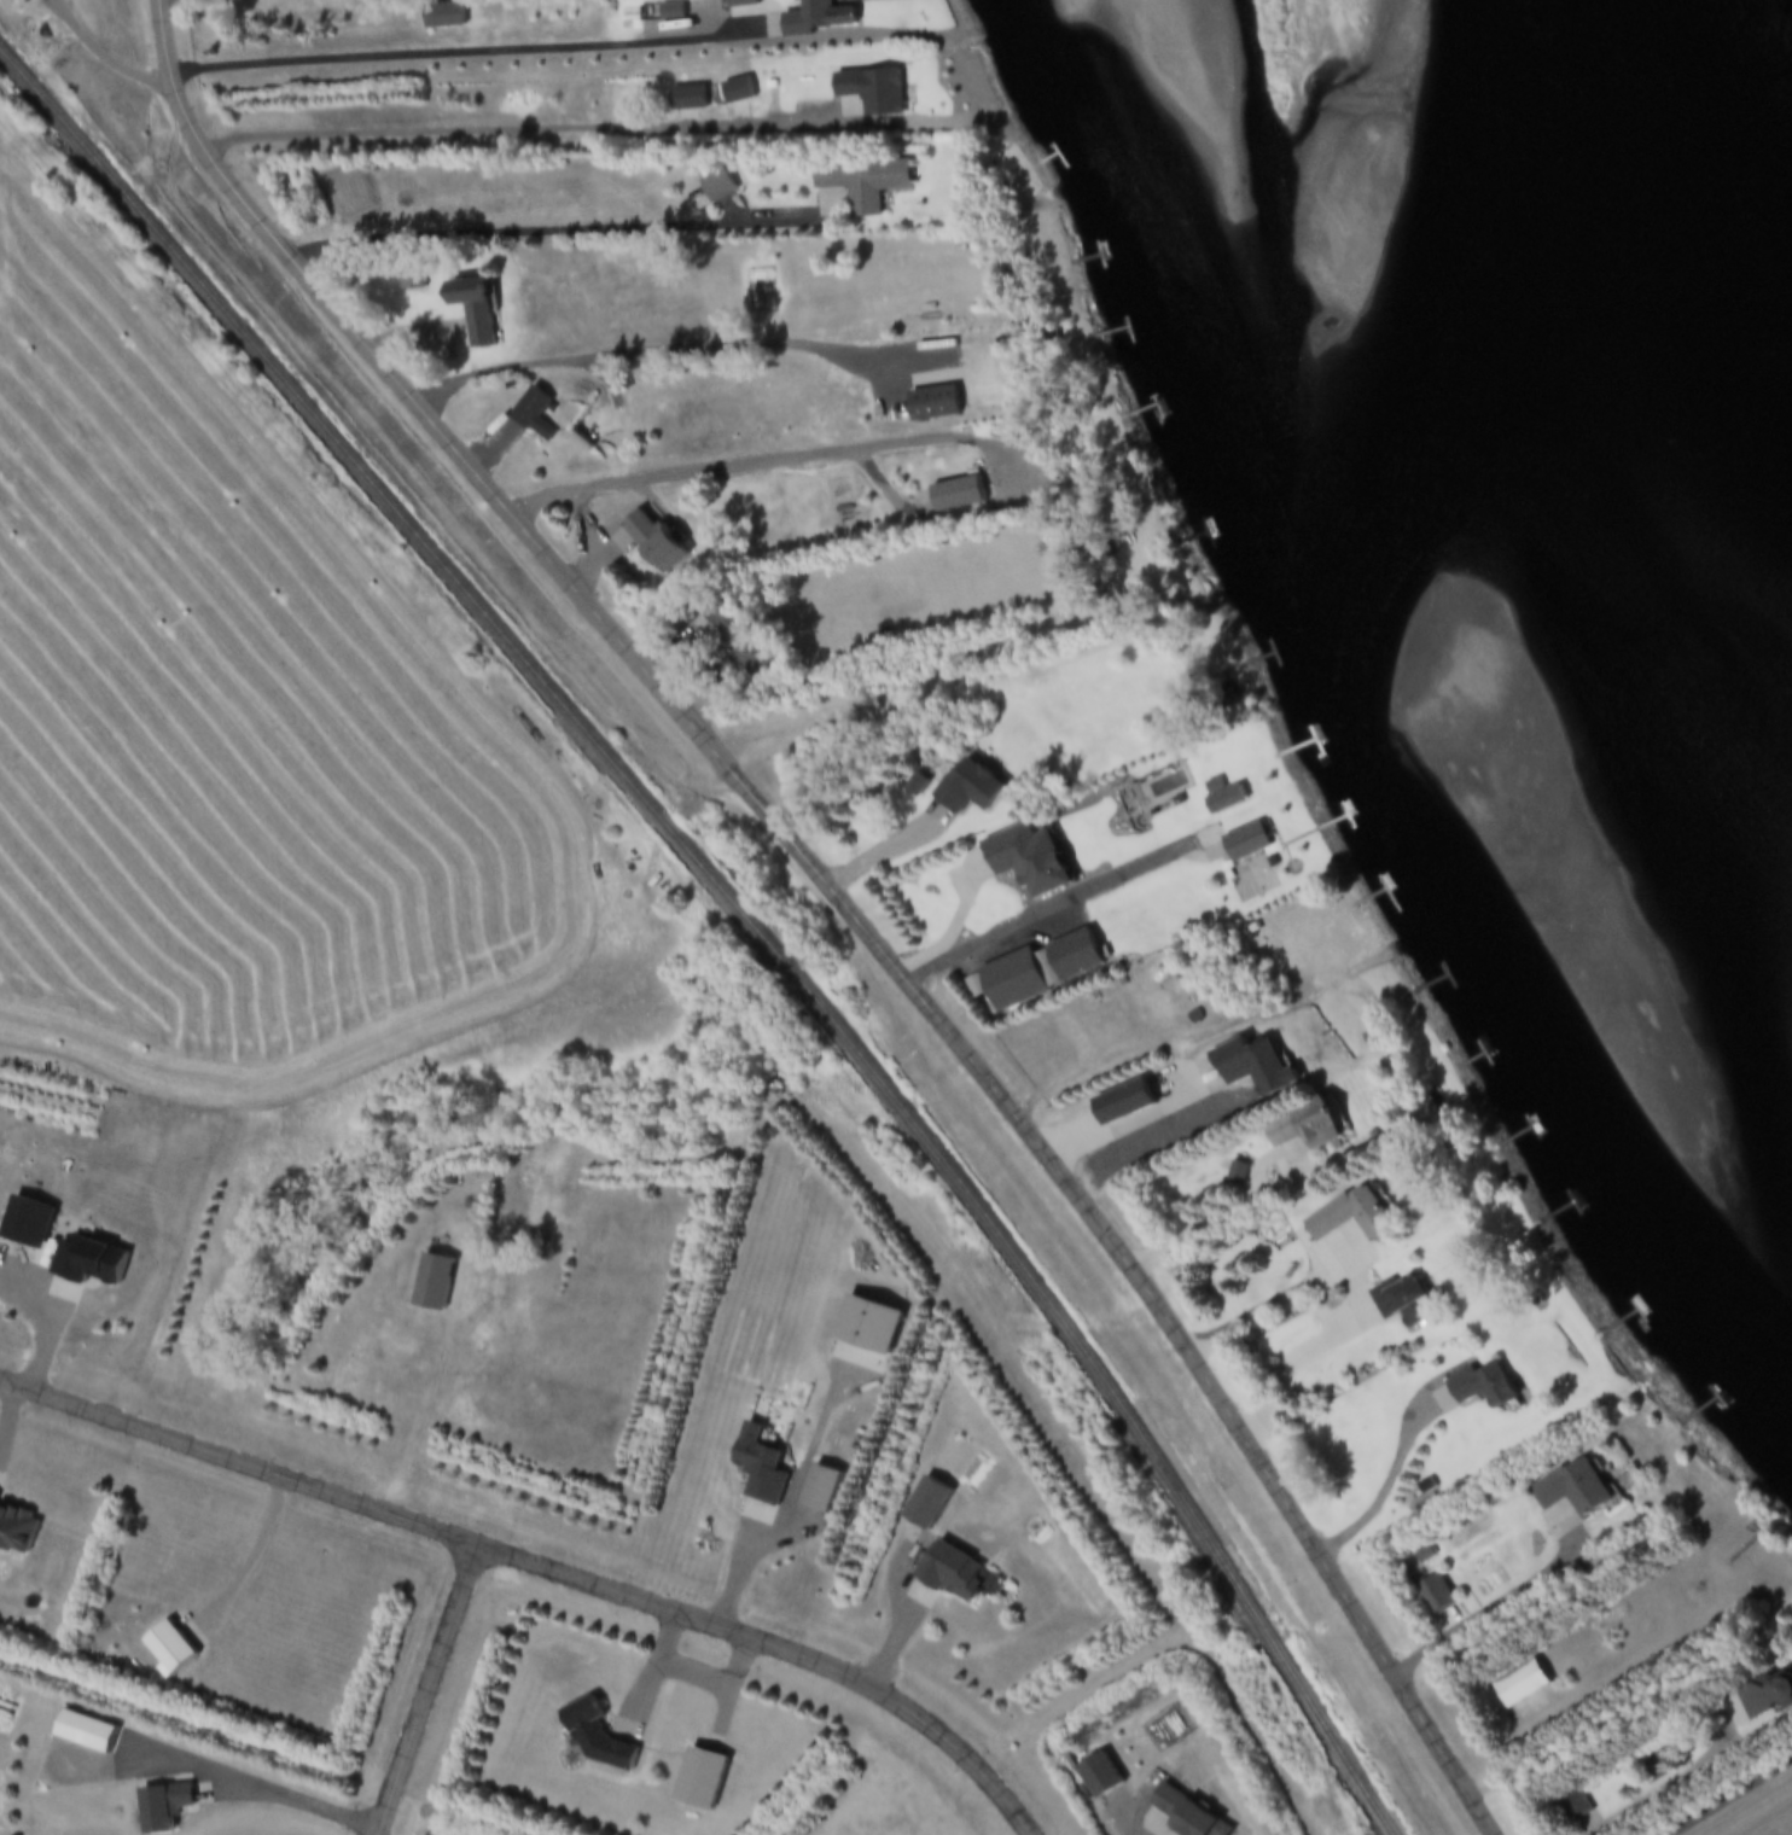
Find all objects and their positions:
building: (741, 4)
building: (671, 12)
building: (444, 17)
building: (807, 18)
road: (453, 53)
road: (101, 57)
building: (737, 92)
building: (873, 92)
building: (687, 99)
building: (863, 183)
building: (717, 187)
road: (549, 234)
building: (477, 311)
road: (646, 355)
building: (537, 415)
road: (769, 464)
building: (958, 495)
building: (656, 542)
building: (739, 639)
road: (712, 660)
road: (930, 676)
building: (972, 788)
building: (1224, 798)
building: (1249, 843)
building: (1031, 861)
road: (838, 899)
railway: (738, 903)
road: (1061, 907)
building: (1016, 981)
building: (1371, 1039)
building: (1256, 1070)
building: (1127, 1105)
building: (1424, 1114)
building: (1307, 1128)
road: (1270, 1208)
building: (1352, 1218)
building: (25, 1222)
building: (88, 1262)
building: (434, 1284)
building: (1407, 1303)
road: (1278, 1304)
road: (1287, 1374)
building: (1484, 1390)
road: (414, 1414)
road: (237, 1461)
building: (761, 1472)
road: (1390, 1487)
building: (821, 1490)
building: (1575, 1491)
building: (929, 1504)
building: (16, 1533)
road: (257, 1557)
building: (954, 1574)
road: (1488, 1612)
road: (776, 1649)
building: (170, 1651)
road: (692, 1671)
building: (1523, 1687)
road: (430, 1689)
building: (1768, 1700)
road: (1575, 1705)
building: (86, 1734)
building: (597, 1738)
building: (1100, 1778)
building: (700, 1781)
road: (254, 1788)
road: (1662, 1794)
building: (1573, 1807)
building: (163, 1808)
building: (1186, 1814)

